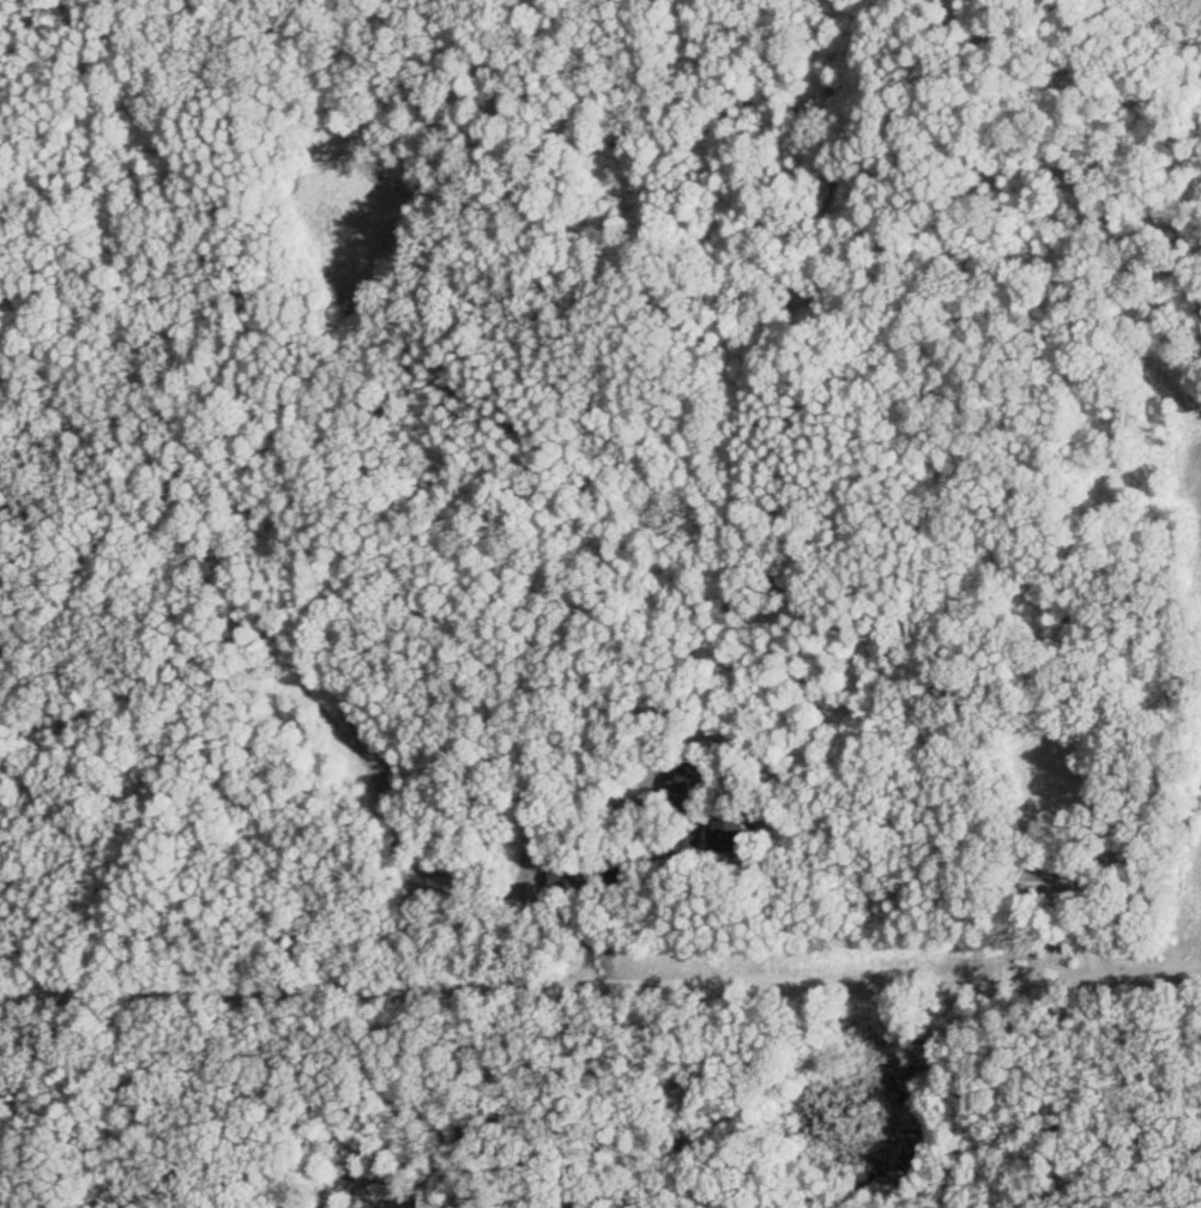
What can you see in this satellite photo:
building: (723, 834)
building: (1060, 876)
road: (599, 981)

